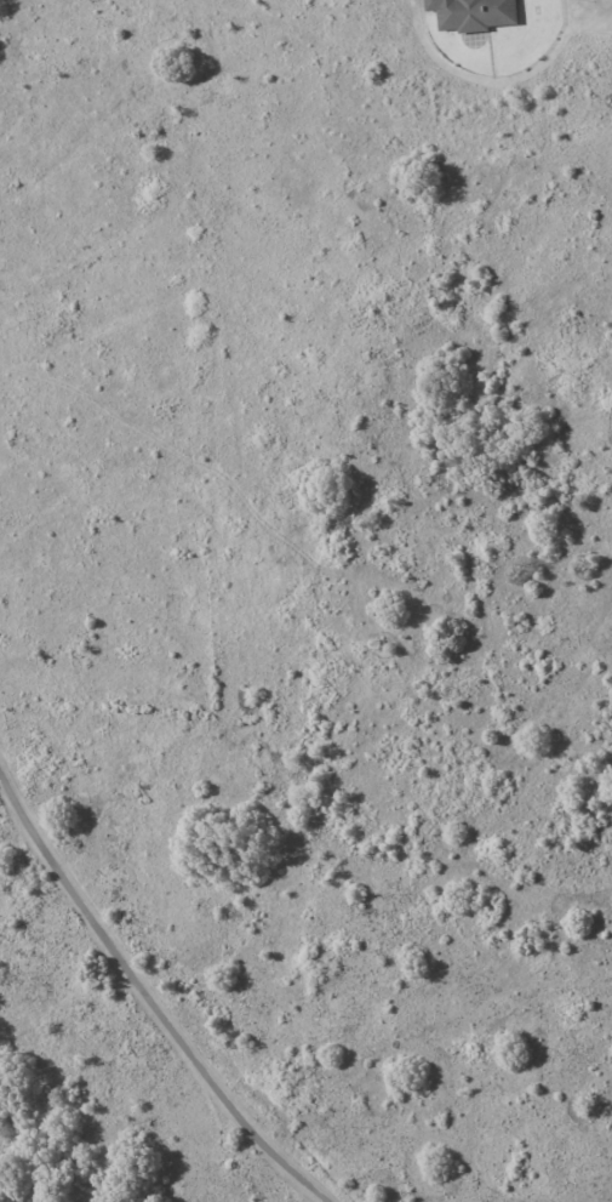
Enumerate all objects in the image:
building: (474, 15)

